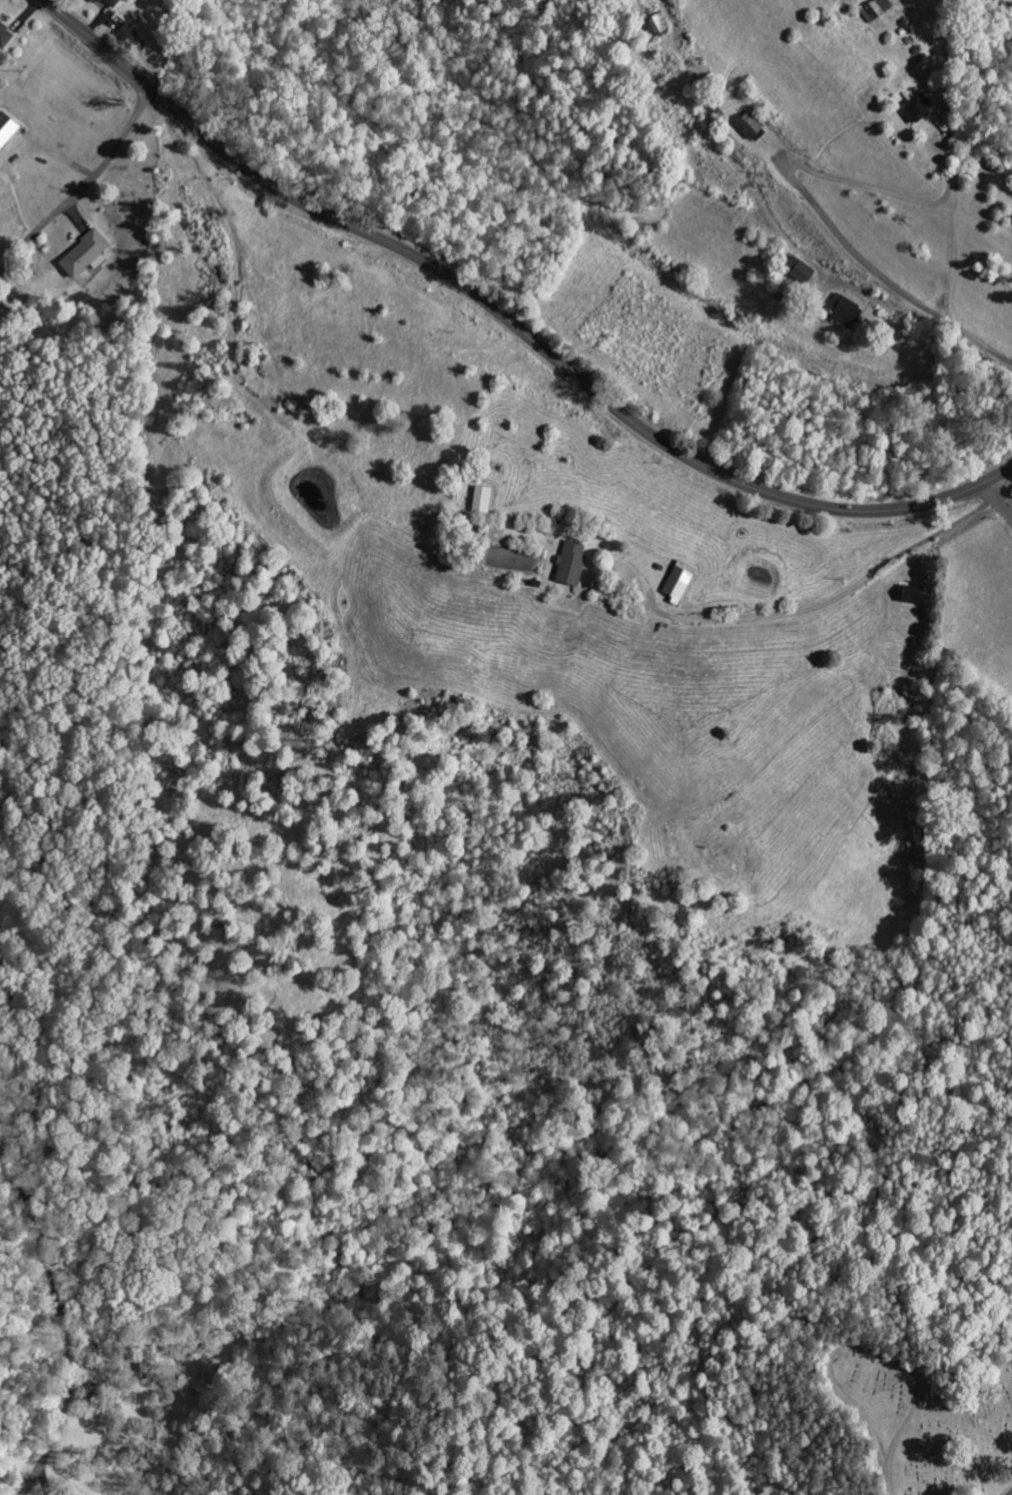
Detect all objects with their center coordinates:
building: (111, 3)
building: (878, 11)
building: (6, 36)
building: (129, 36)
building: (919, 110)
building: (753, 129)
building: (7, 131)
road: (83, 187)
building: (88, 255)
building: (802, 271)
road: (902, 294)
building: (846, 311)
road: (509, 321)
building: (485, 500)
road: (995, 501)
building: (574, 564)
building: (681, 582)
building: (914, 596)
road: (60, 1322)
road: (1011, 1494)

